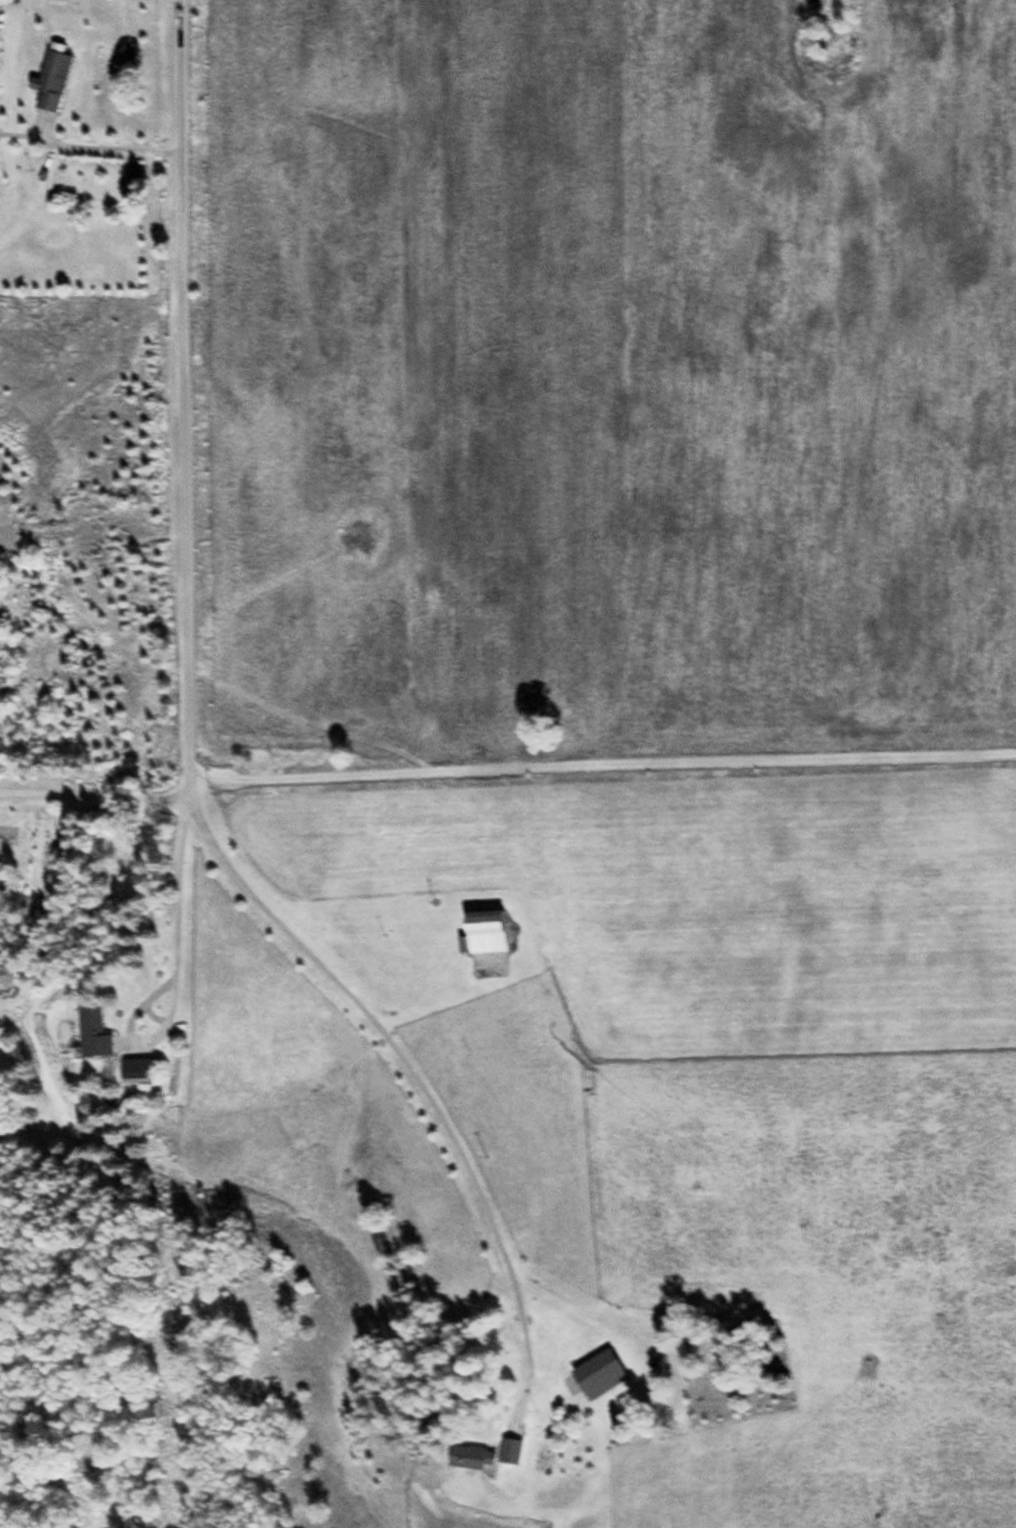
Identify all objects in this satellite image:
building: (51, 78)
road: (154, 362)
building: (482, 932)
road: (230, 975)
road: (407, 1002)
building: (93, 1033)
building: (597, 1374)
building: (508, 1450)
building: (471, 1457)

